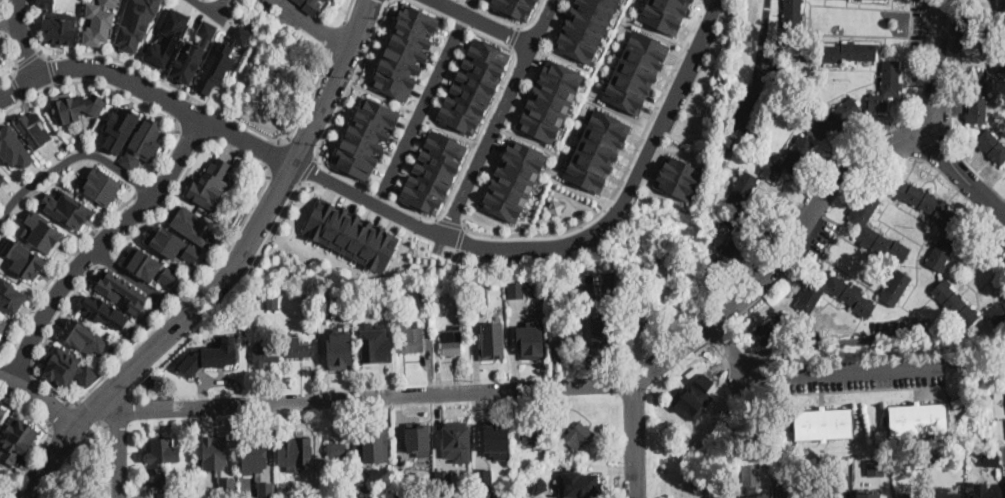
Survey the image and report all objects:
building: (300, 1)
road: (217, 5)
building: (311, 5)
building: (1002, 5)
road: (468, 6)
building: (512, 7)
road: (3, 8)
road: (209, 8)
road: (349, 10)
road: (439, 13)
building: (663, 13)
road: (508, 19)
road: (484, 21)
road: (9, 22)
building: (99, 22)
building: (792, 22)
building: (58, 23)
building: (136, 23)
road: (315, 23)
road: (5, 24)
building: (582, 27)
road: (513, 34)
road: (23, 38)
building: (167, 39)
road: (339, 39)
road: (928, 45)
building: (841, 52)
building: (192, 53)
building: (406, 53)
building: (1, 59)
building: (221, 60)
road: (14, 62)
road: (29, 63)
building: (999, 63)
road: (139, 68)
road: (54, 71)
building: (633, 71)
road: (938, 71)
building: (467, 83)
road: (20, 86)
building: (886, 86)
road: (117, 90)
road: (148, 90)
building: (978, 97)
building: (547, 100)
road: (308, 102)
building: (733, 104)
building: (77, 107)
road: (183, 108)
road: (420, 108)
road: (487, 111)
road: (497, 117)
building: (835, 117)
road: (221, 126)
building: (120, 127)
building: (35, 128)
building: (363, 136)
road: (189, 137)
road: (323, 142)
building: (143, 143)
building: (992, 145)
building: (13, 146)
road: (302, 148)
building: (594, 149)
road: (272, 152)
road: (70, 158)
road: (722, 158)
building: (788, 161)
building: (426, 167)
road: (309, 169)
road: (624, 170)
building: (674, 173)
building: (2, 174)
road: (283, 174)
road: (960, 175)
building: (511, 178)
building: (209, 185)
building: (100, 186)
road: (144, 186)
road: (627, 187)
building: (743, 189)
road: (369, 200)
building: (921, 201)
building: (553, 204)
road: (574, 204)
building: (67, 208)
road: (249, 214)
road: (549, 221)
road: (450, 224)
building: (195, 226)
building: (864, 226)
road: (271, 229)
building: (42, 231)
building: (348, 232)
road: (461, 238)
building: (734, 242)
road: (98, 243)
building: (172, 244)
building: (941, 252)
road: (105, 254)
building: (24, 258)
building: (146, 267)
road: (57, 272)
road: (127, 275)
road: (231, 275)
building: (574, 279)
building: (607, 281)
building: (896, 288)
building: (349, 289)
building: (515, 289)
building: (121, 290)
building: (460, 290)
building: (592, 291)
building: (10, 295)
building: (423, 297)
road: (738, 297)
building: (851, 297)
building: (1004, 298)
building: (259, 300)
building: (272, 303)
building: (955, 304)
building: (246, 305)
building: (476, 306)
building: (328, 310)
building: (103, 311)
road: (153, 311)
building: (998, 313)
building: (640, 318)
building: (311, 320)
building: (2, 325)
building: (773, 329)
road: (47, 333)
building: (84, 336)
building: (602, 337)
building: (414, 338)
building: (531, 338)
building: (562, 339)
building: (492, 340)
building: (452, 341)
building: (374, 342)
building: (297, 348)
road: (730, 350)
building: (342, 351)
building: (554, 353)
building: (211, 355)
building: (266, 355)
road: (21, 362)
building: (68, 368)
road: (845, 371)
parking lot: (869, 373)
building: (990, 396)
road: (378, 397)
road: (39, 398)
building: (957, 402)
building: (693, 408)
road: (86, 411)
building: (2, 412)
road: (59, 414)
building: (918, 419)
building: (823, 424)
building: (561, 428)
road: (46, 435)
building: (532, 435)
building: (578, 435)
building: (418, 438)
building: (16, 439)
building: (496, 440)
building: (457, 441)
road: (120, 445)
building: (293, 448)
building: (374, 449)
building: (336, 450)
road: (105, 454)
building: (217, 455)
building: (161, 457)
building: (255, 458)
building: (875, 467)
building: (751, 474)
building: (483, 476)
building: (462, 478)
building: (443, 479)
building: (194, 481)
building: (844, 481)
building: (226, 483)
building: (281, 483)
building: (207, 484)
building: (538, 484)
building: (578, 484)
building: (403, 486)
building: (364, 488)
building: (376, 489)
building: (265, 490)
building: (335, 490)
building: (983, 490)
building: (946, 493)
building: (166, 494)
building: (282, 494)
building: (484, 494)
building: (868, 494)
building: (233, 495)
building: (758, 495)
building: (783, 495)
building: (833, 495)
building: (910, 495)
building: (404, 496)
building: (464, 496)
building: (715, 496)

